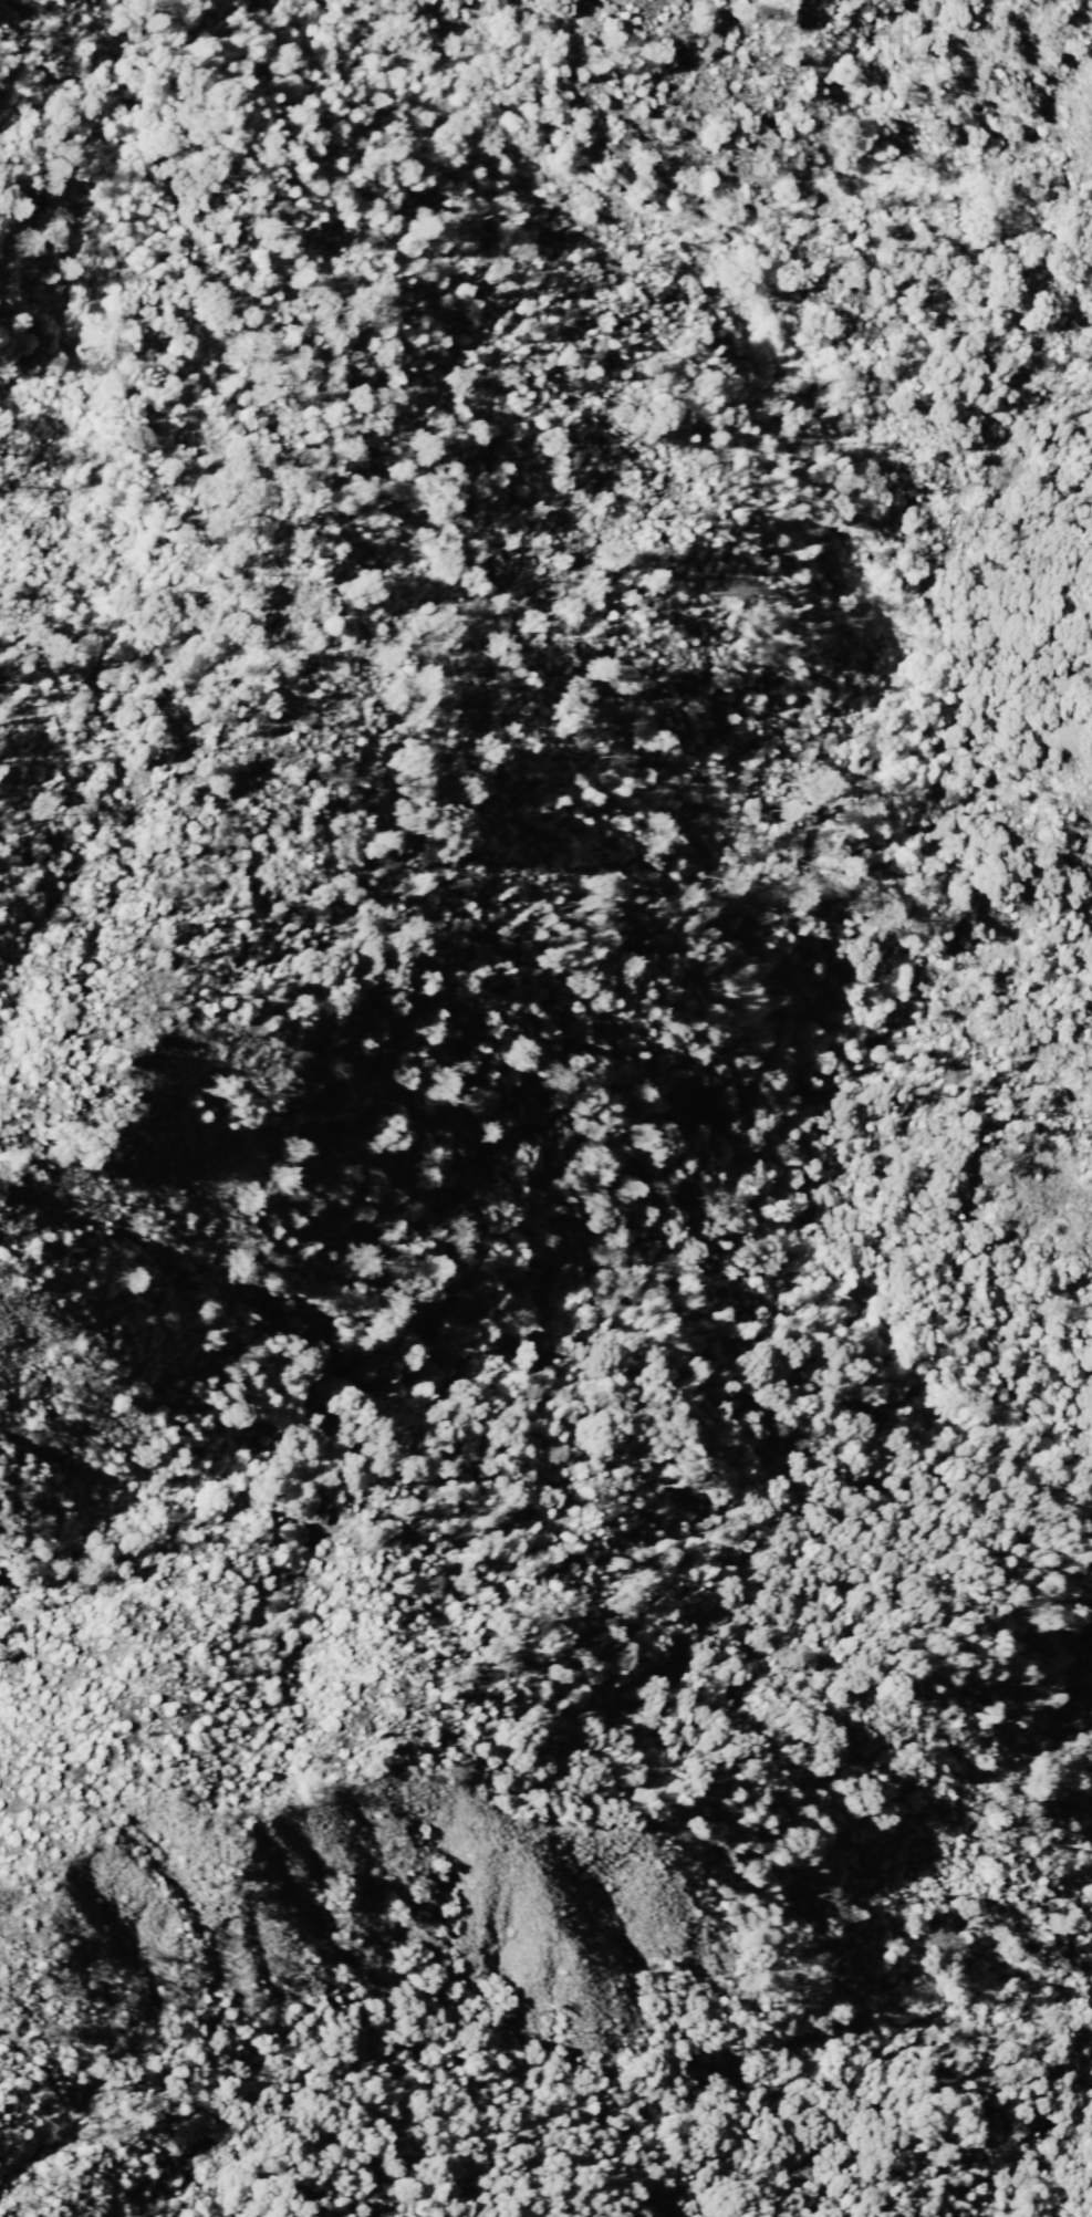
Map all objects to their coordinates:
road: (511, 206)
road: (915, 329)

